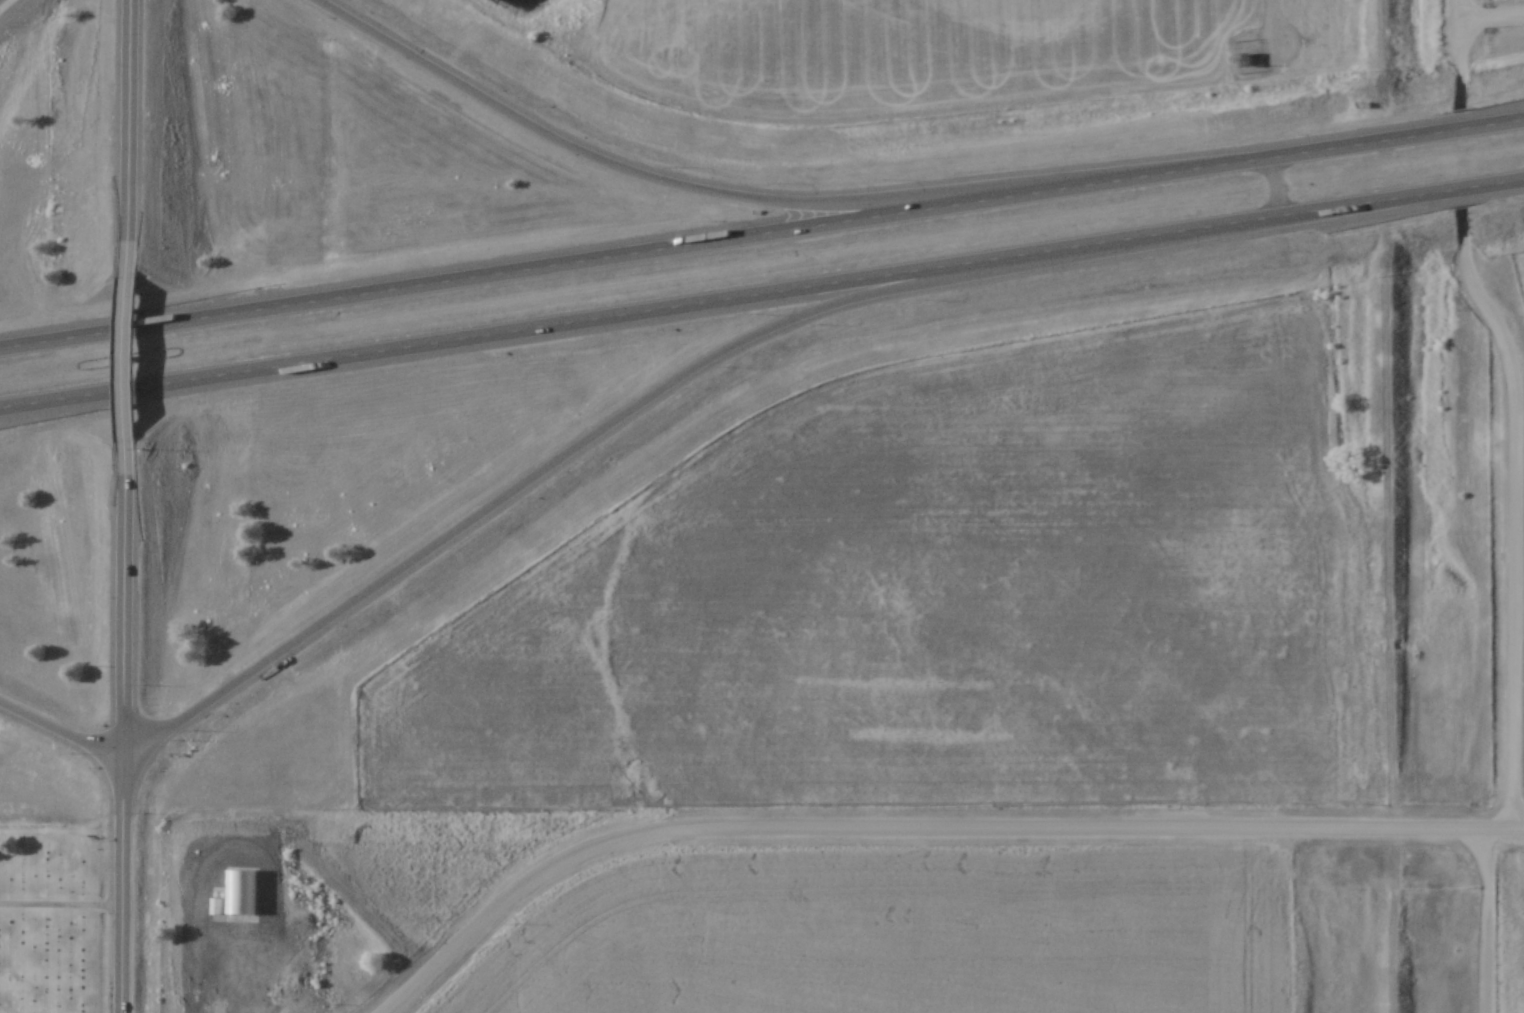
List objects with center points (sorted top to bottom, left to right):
road: (1459, 10)
road: (1491, 18)
building: (1254, 62)
road: (1461, 62)
road: (122, 136)
road: (723, 194)
road: (761, 230)
road: (762, 292)
road: (119, 357)
road: (591, 442)
road: (1517, 518)
road: (119, 596)
crop: (938, 608)
road: (58, 728)
road: (922, 832)
road: (121, 881)
road: (1487, 921)
park: (53, 924)

